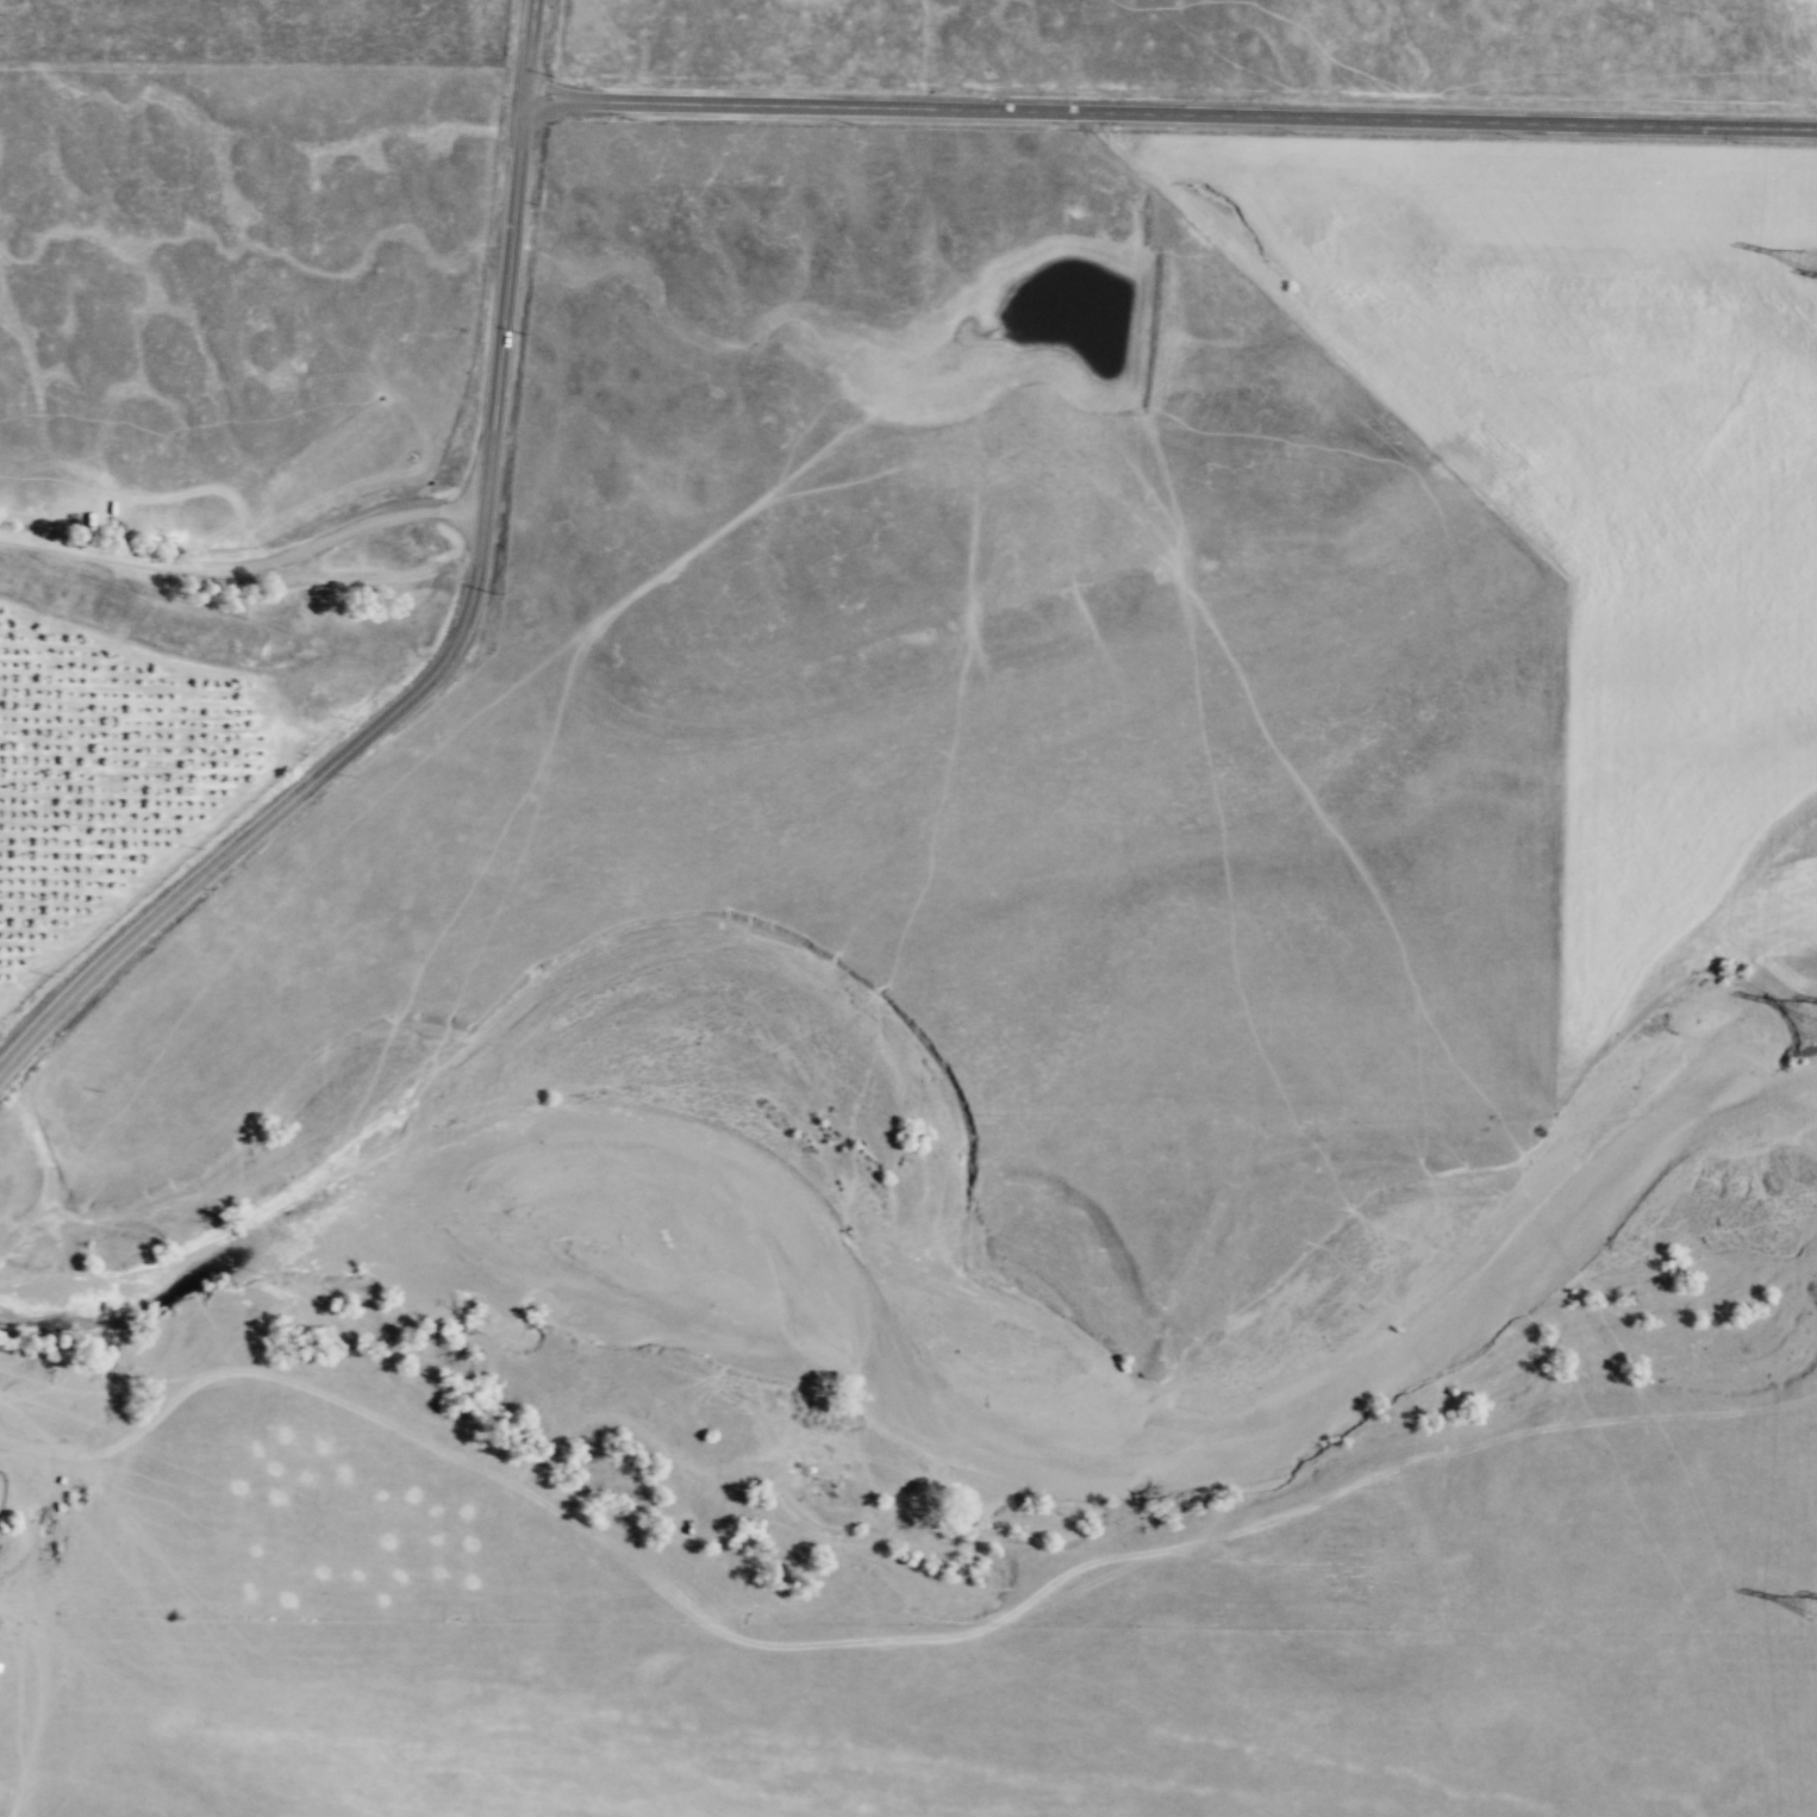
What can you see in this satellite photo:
road: (527, 51)
road: (1169, 113)
power tower: (1810, 262)
road: (456, 510)
road: (218, 568)
road: (435, 676)
power tower: (1812, 1012)
river: (930, 1380)
road: (26, 1522)
road: (15, 1605)
power tower: (1816, 1606)
road: (880, 1642)
road: (36, 1712)

